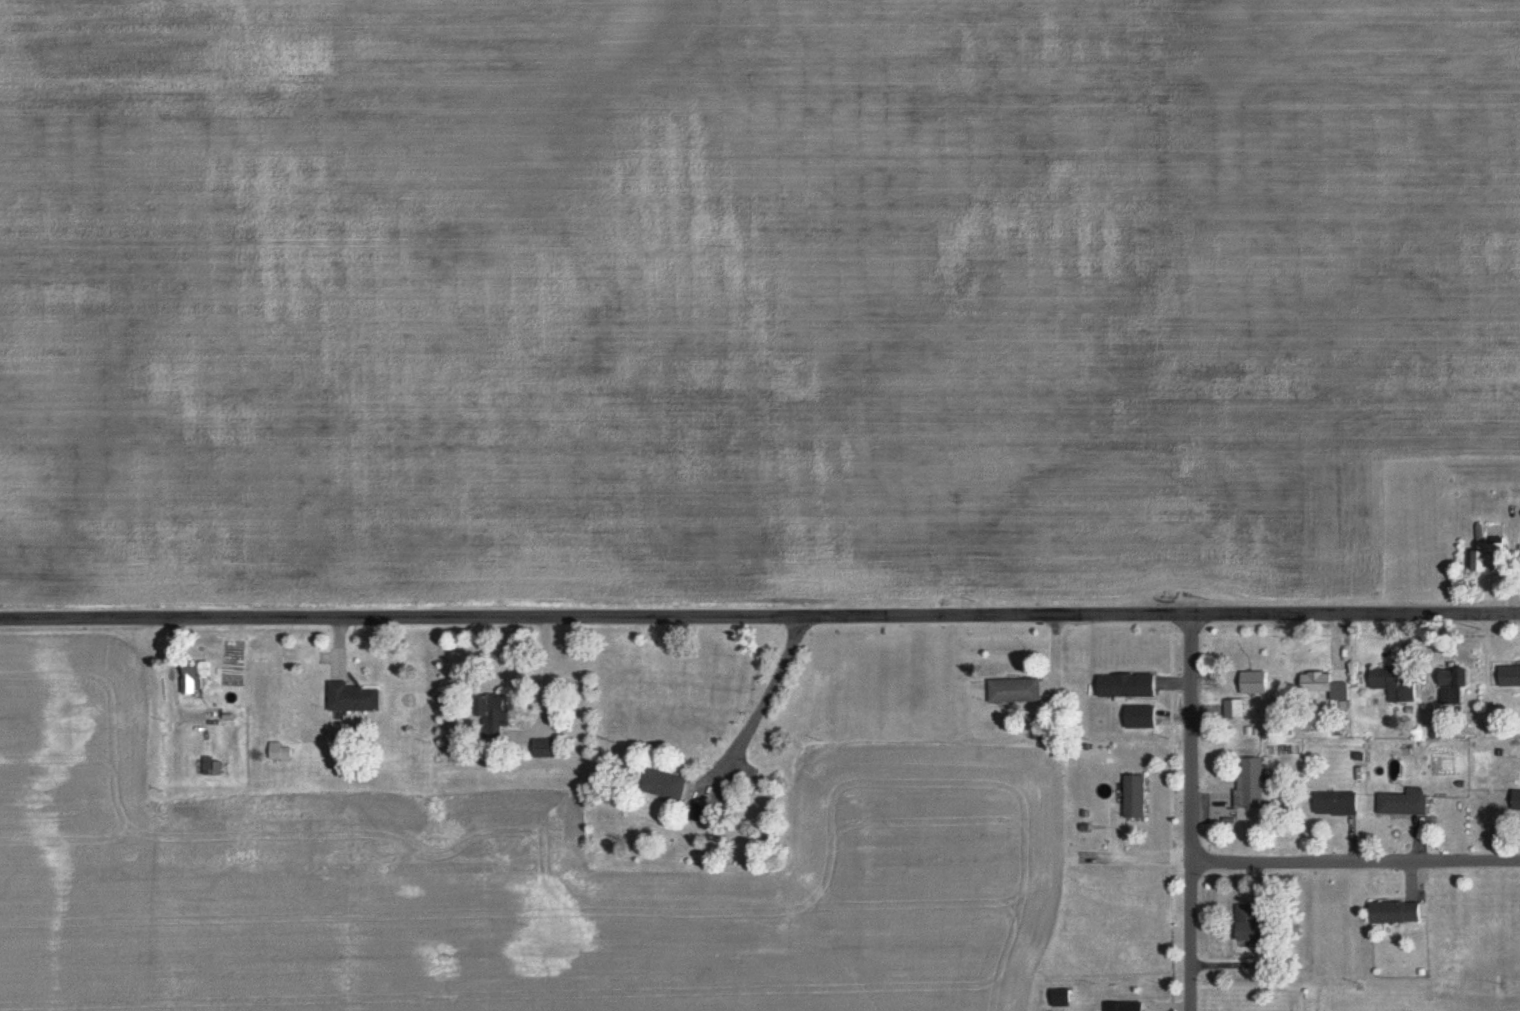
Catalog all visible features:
crop: (742, 294)
building: (1492, 558)
road: (1155, 618)
road: (395, 619)
building: (196, 676)
building: (1510, 676)
building: (1255, 683)
building: (1394, 684)
building: (1127, 685)
building: (1455, 685)
building: (1015, 691)
building: (354, 698)
building: (1233, 708)
building: (1141, 717)
building: (545, 747)
building: (1249, 784)
building: (666, 785)
building: (1135, 796)
building: (1518, 801)
building: (1404, 802)
building: (1337, 803)
building: (700, 813)
road: (1191, 814)
road: (1116, 832)
road: (1135, 857)
road: (1356, 859)
crop: (487, 883)
building: (1396, 912)
building: (1254, 926)
building: (1062, 998)
building: (1126, 1006)

